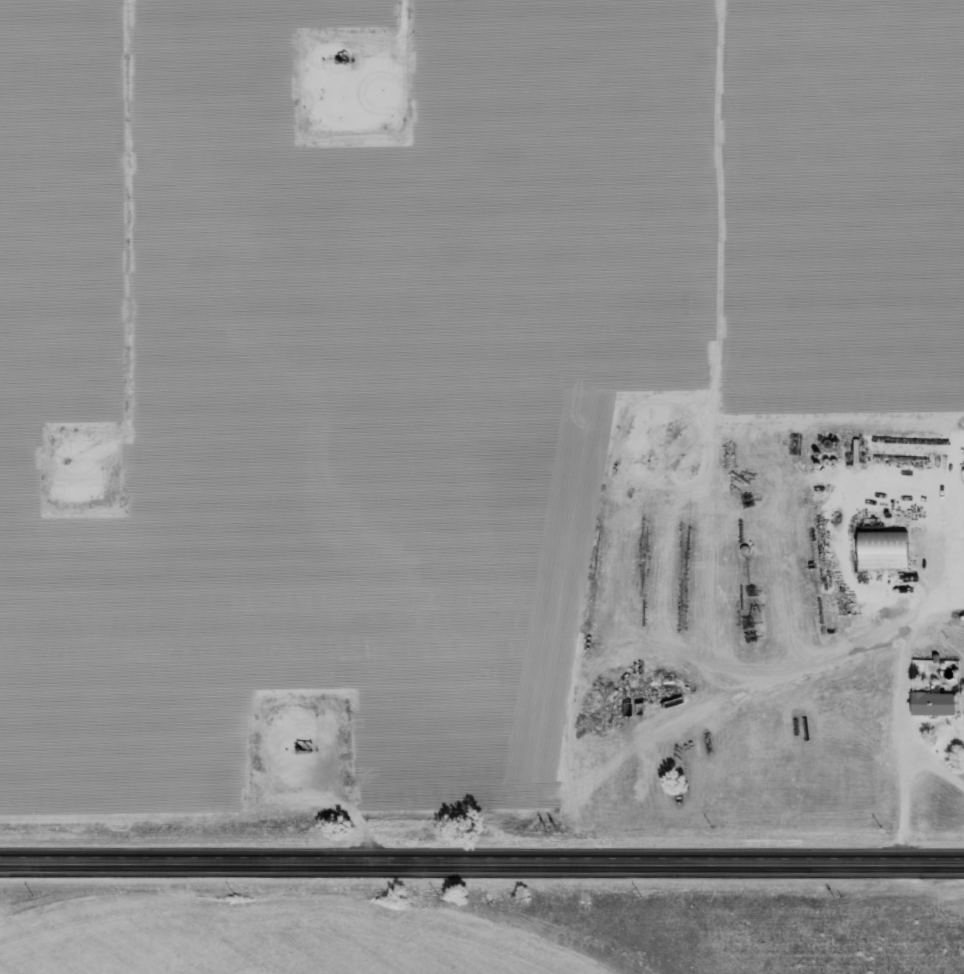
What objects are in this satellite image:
petroleum well: (345, 62)
building: (935, 704)
petroleum well: (297, 744)
road: (482, 863)

